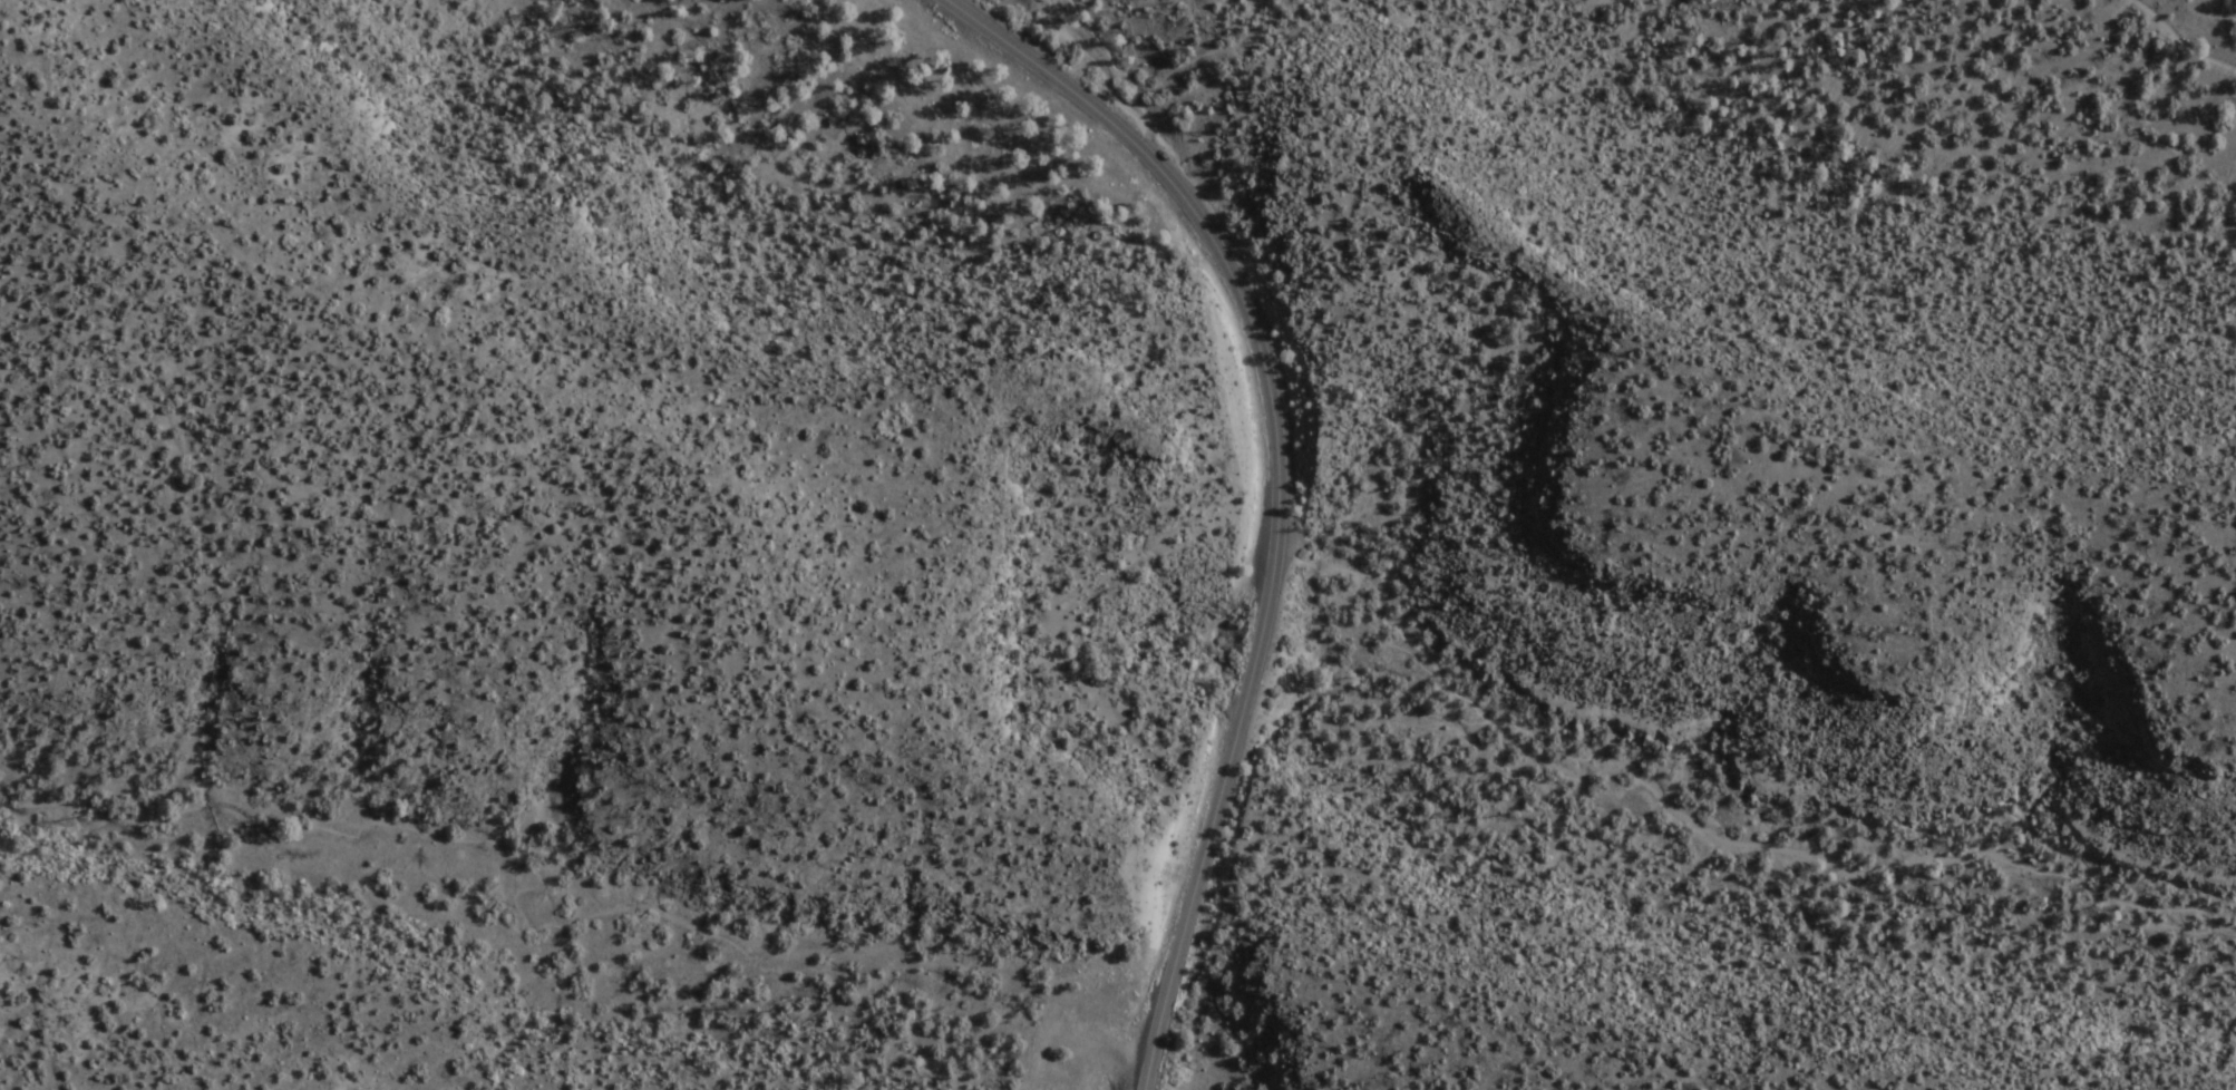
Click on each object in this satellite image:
road: (2188, 26)
road: (1128, 65)
road: (1420, 256)
road: (1273, 487)
road: (1713, 838)

